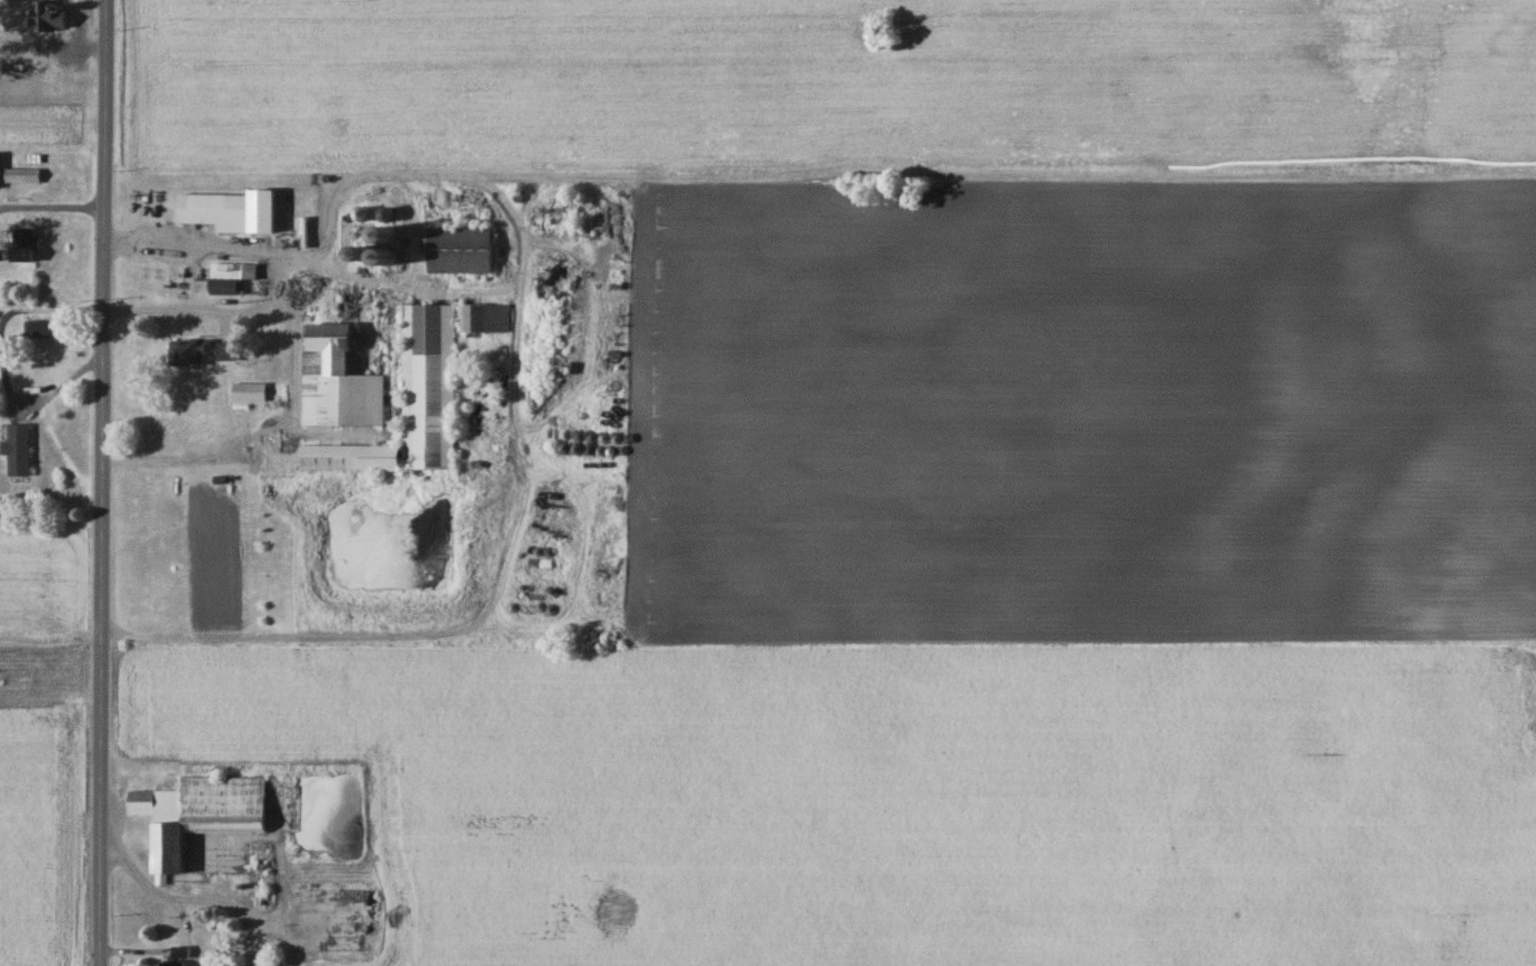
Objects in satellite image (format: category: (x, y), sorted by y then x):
building: (50, 15)
building: (21, 175)
building: (561, 200)
road: (52, 207)
building: (215, 211)
building: (381, 235)
building: (458, 250)
building: (381, 257)
building: (228, 276)
road: (279, 281)
road: (49, 305)
building: (484, 317)
building: (38, 329)
building: (199, 352)
building: (344, 365)
road: (296, 369)
road: (516, 376)
building: (247, 392)
road: (34, 398)
building: (408, 403)
building: (16, 450)
road: (103, 482)
building: (419, 565)
building: (200, 816)

